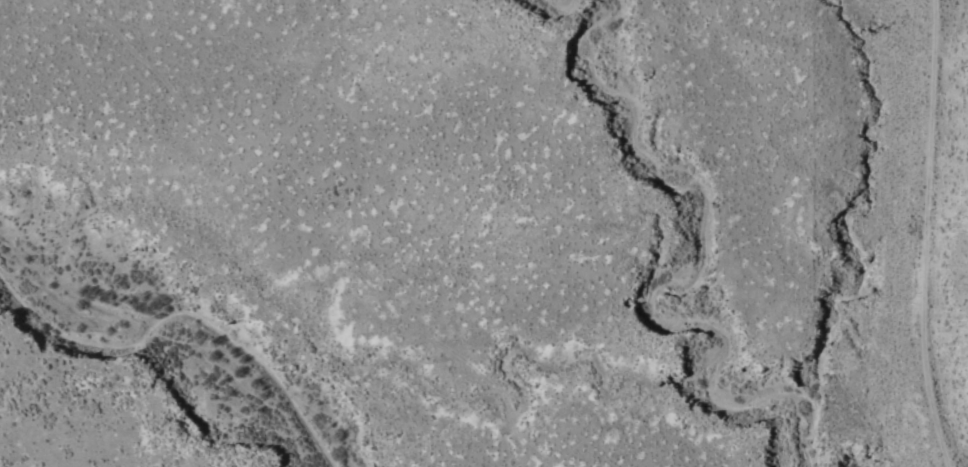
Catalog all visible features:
road: (921, 234)

